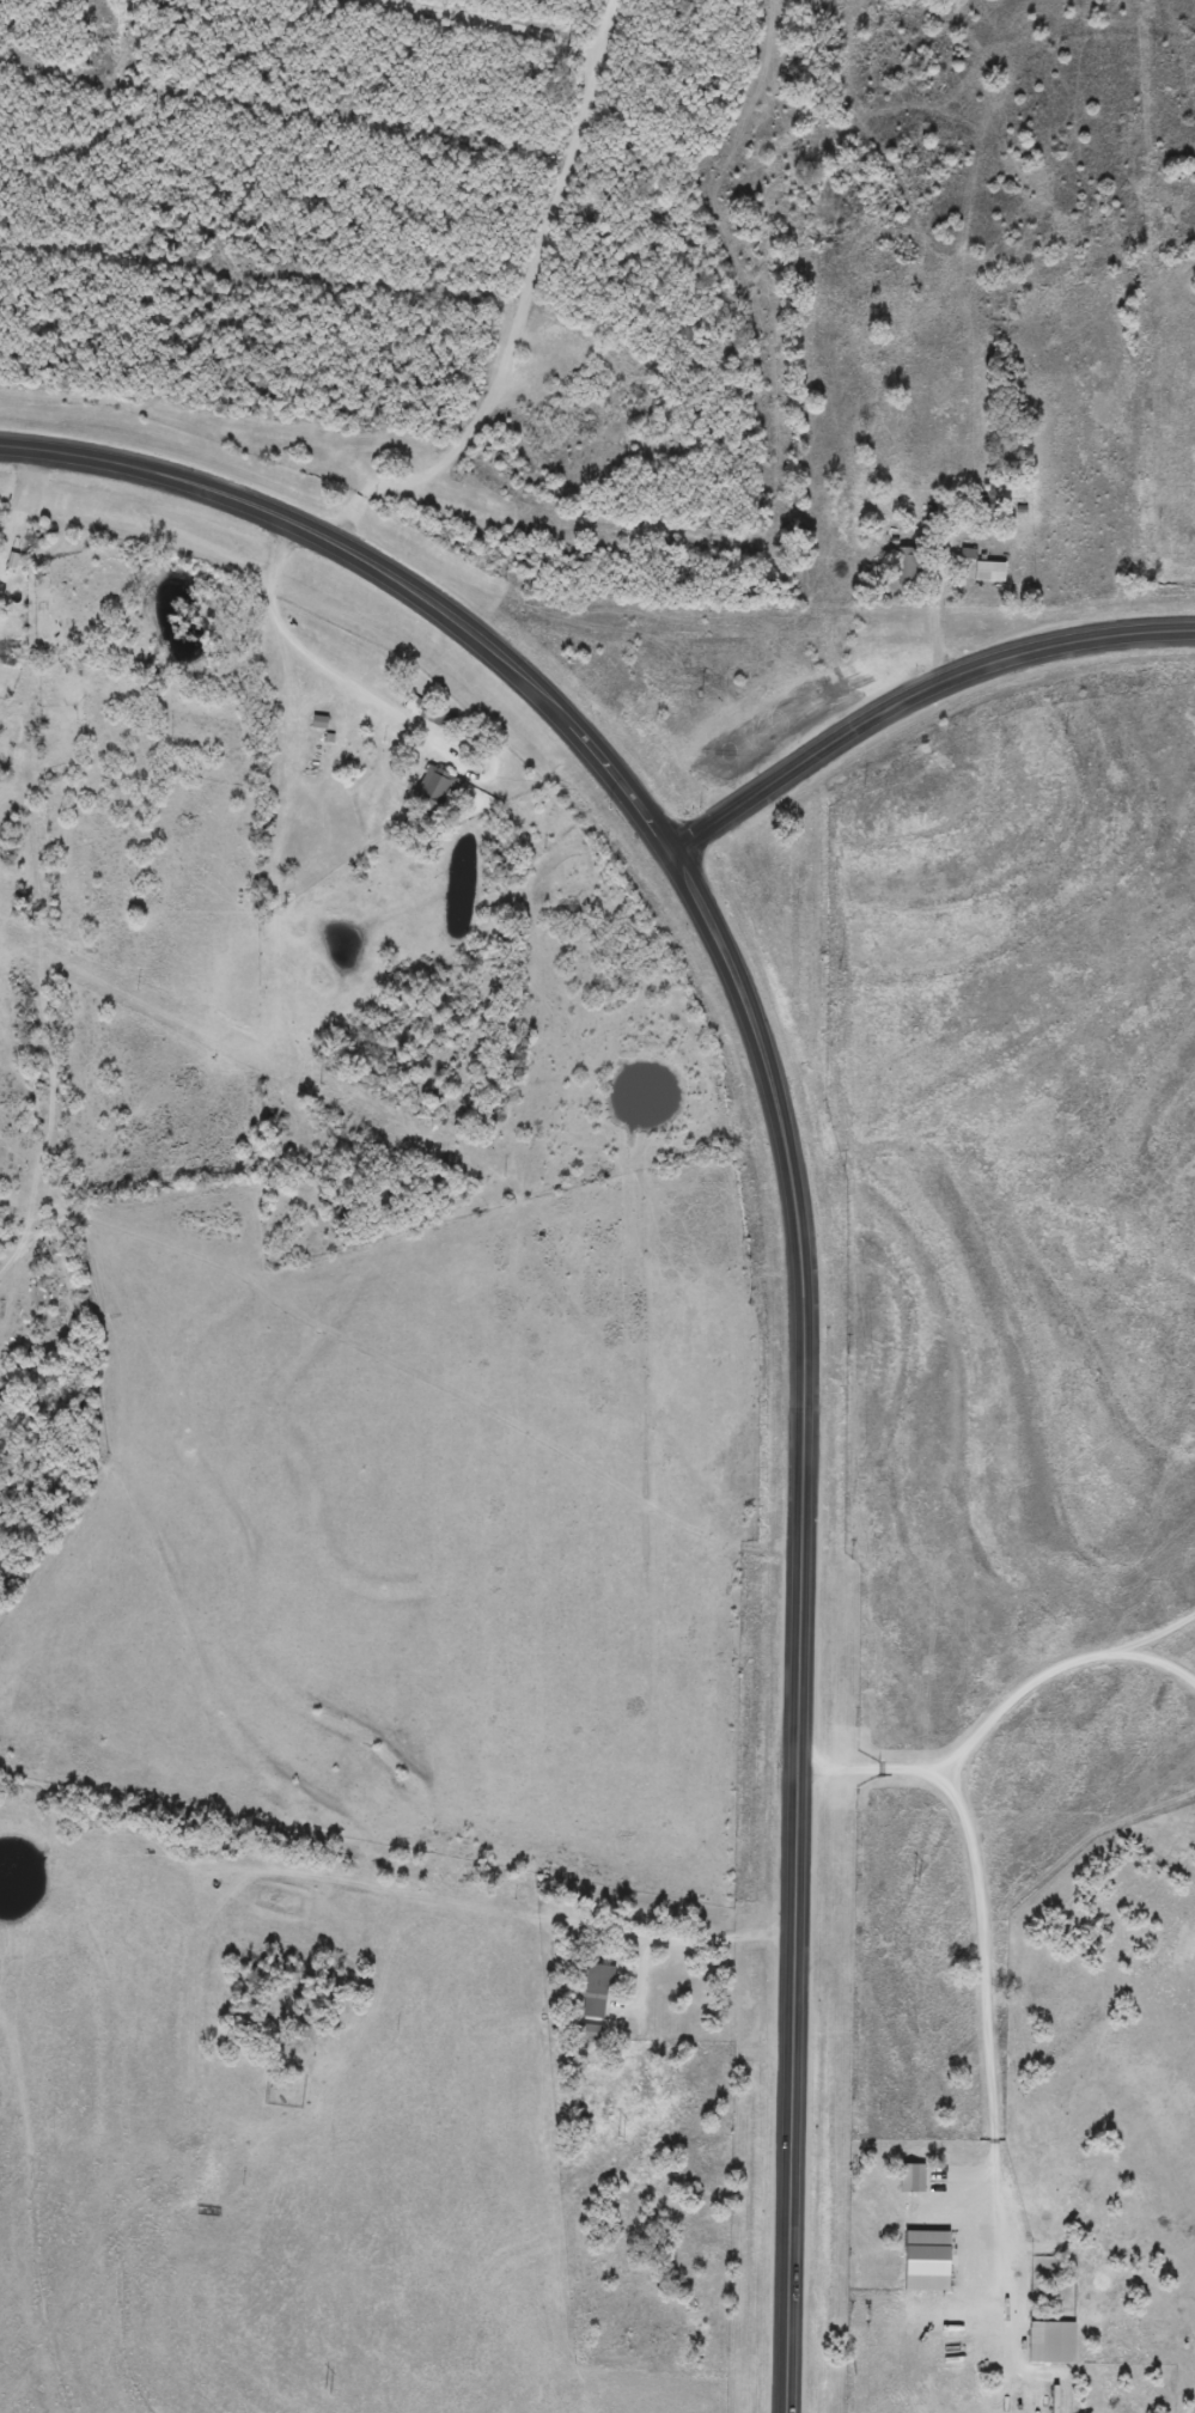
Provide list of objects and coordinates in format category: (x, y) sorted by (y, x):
building: (904, 566)
building: (988, 572)
road: (385, 573)
road: (915, 699)
building: (757, 711)
building: (431, 714)
building: (317, 721)
building: (433, 792)
road: (801, 1623)
building: (593, 1992)
building: (590, 2033)
building: (1032, 2345)

